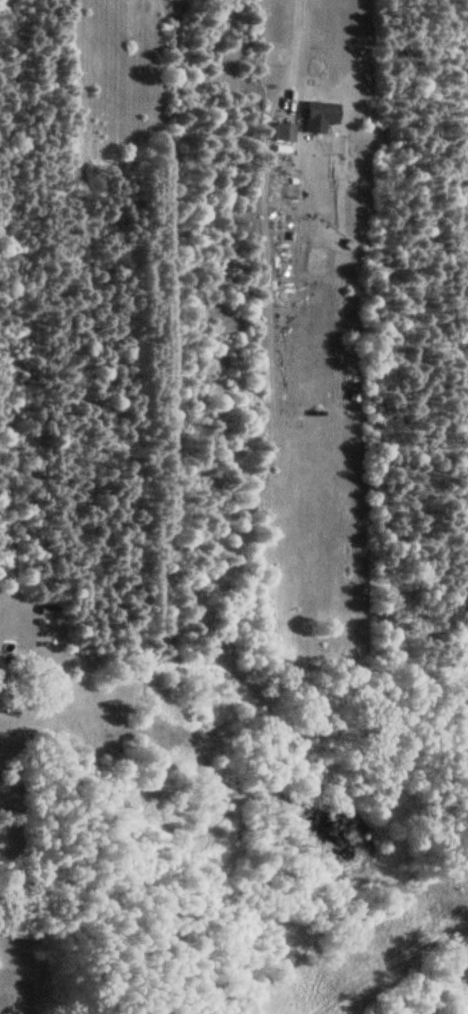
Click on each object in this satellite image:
building: (317, 117)
building: (282, 133)

